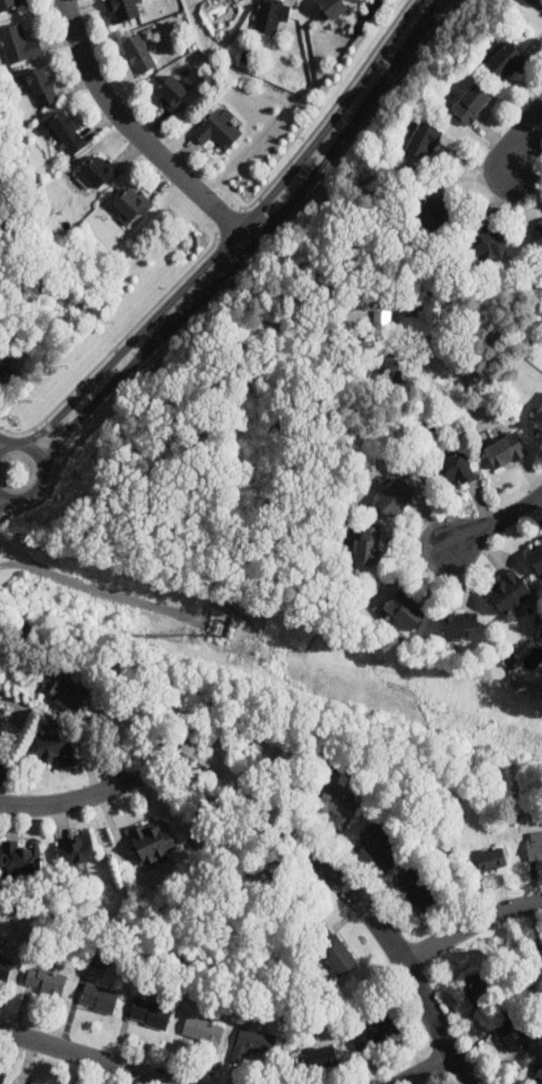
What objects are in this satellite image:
building: (10, 4)
building: (332, 8)
building: (122, 10)
building: (270, 15)
building: (18, 45)
building: (139, 54)
building: (506, 62)
building: (41, 87)
building: (172, 92)
building: (470, 104)
road: (351, 125)
building: (218, 128)
road: (526, 130)
building: (67, 133)
road: (139, 135)
building: (421, 142)
building: (99, 173)
building: (131, 205)
building: (434, 217)
building: (541, 228)
road: (236, 234)
building: (539, 244)
building: (489, 245)
road: (220, 279)
building: (426, 317)
road: (293, 344)
building: (2, 364)
road: (109, 388)
building: (538, 420)
road: (53, 433)
road: (3, 443)
road: (14, 444)
road: (3, 446)
building: (504, 452)
road: (38, 454)
building: (452, 471)
road: (33, 493)
road: (4, 496)
building: (395, 499)
road: (4, 501)
road: (497, 522)
building: (366, 548)
building: (535, 559)
building: (508, 595)
building: (403, 611)
building: (458, 625)
road: (30, 626)
power tower: (196, 636)
building: (65, 687)
building: (54, 750)
building: (193, 761)
building: (1, 763)
road: (67, 802)
building: (339, 808)
building: (152, 842)
building: (382, 848)
building: (534, 850)
building: (75, 854)
building: (20, 860)
building: (491, 860)
building: (418, 892)
road: (471, 924)
building: (332, 949)
road: (404, 958)
building: (4, 969)
building: (45, 982)
building: (479, 988)
building: (99, 998)
building: (150, 1013)
building: (373, 1032)
building: (204, 1033)
building: (513, 1037)
building: (252, 1044)
road: (88, 1057)
building: (323, 1061)
road: (424, 1068)
building: (539, 1075)
building: (1, 1079)
building: (35, 1083)

